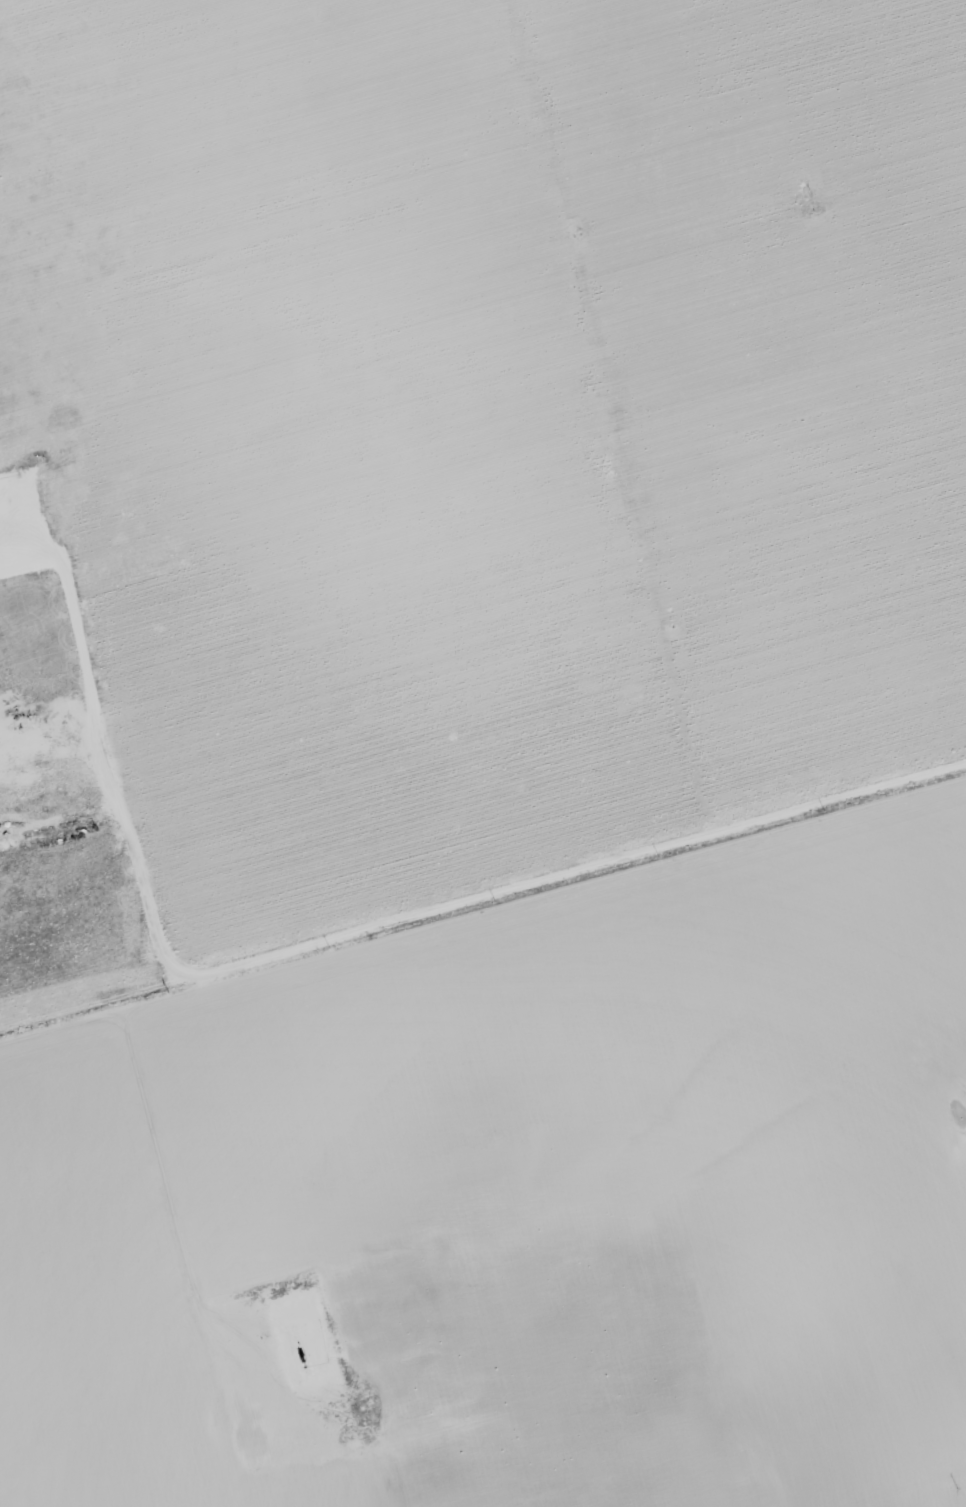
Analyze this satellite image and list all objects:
road: (500, 885)

